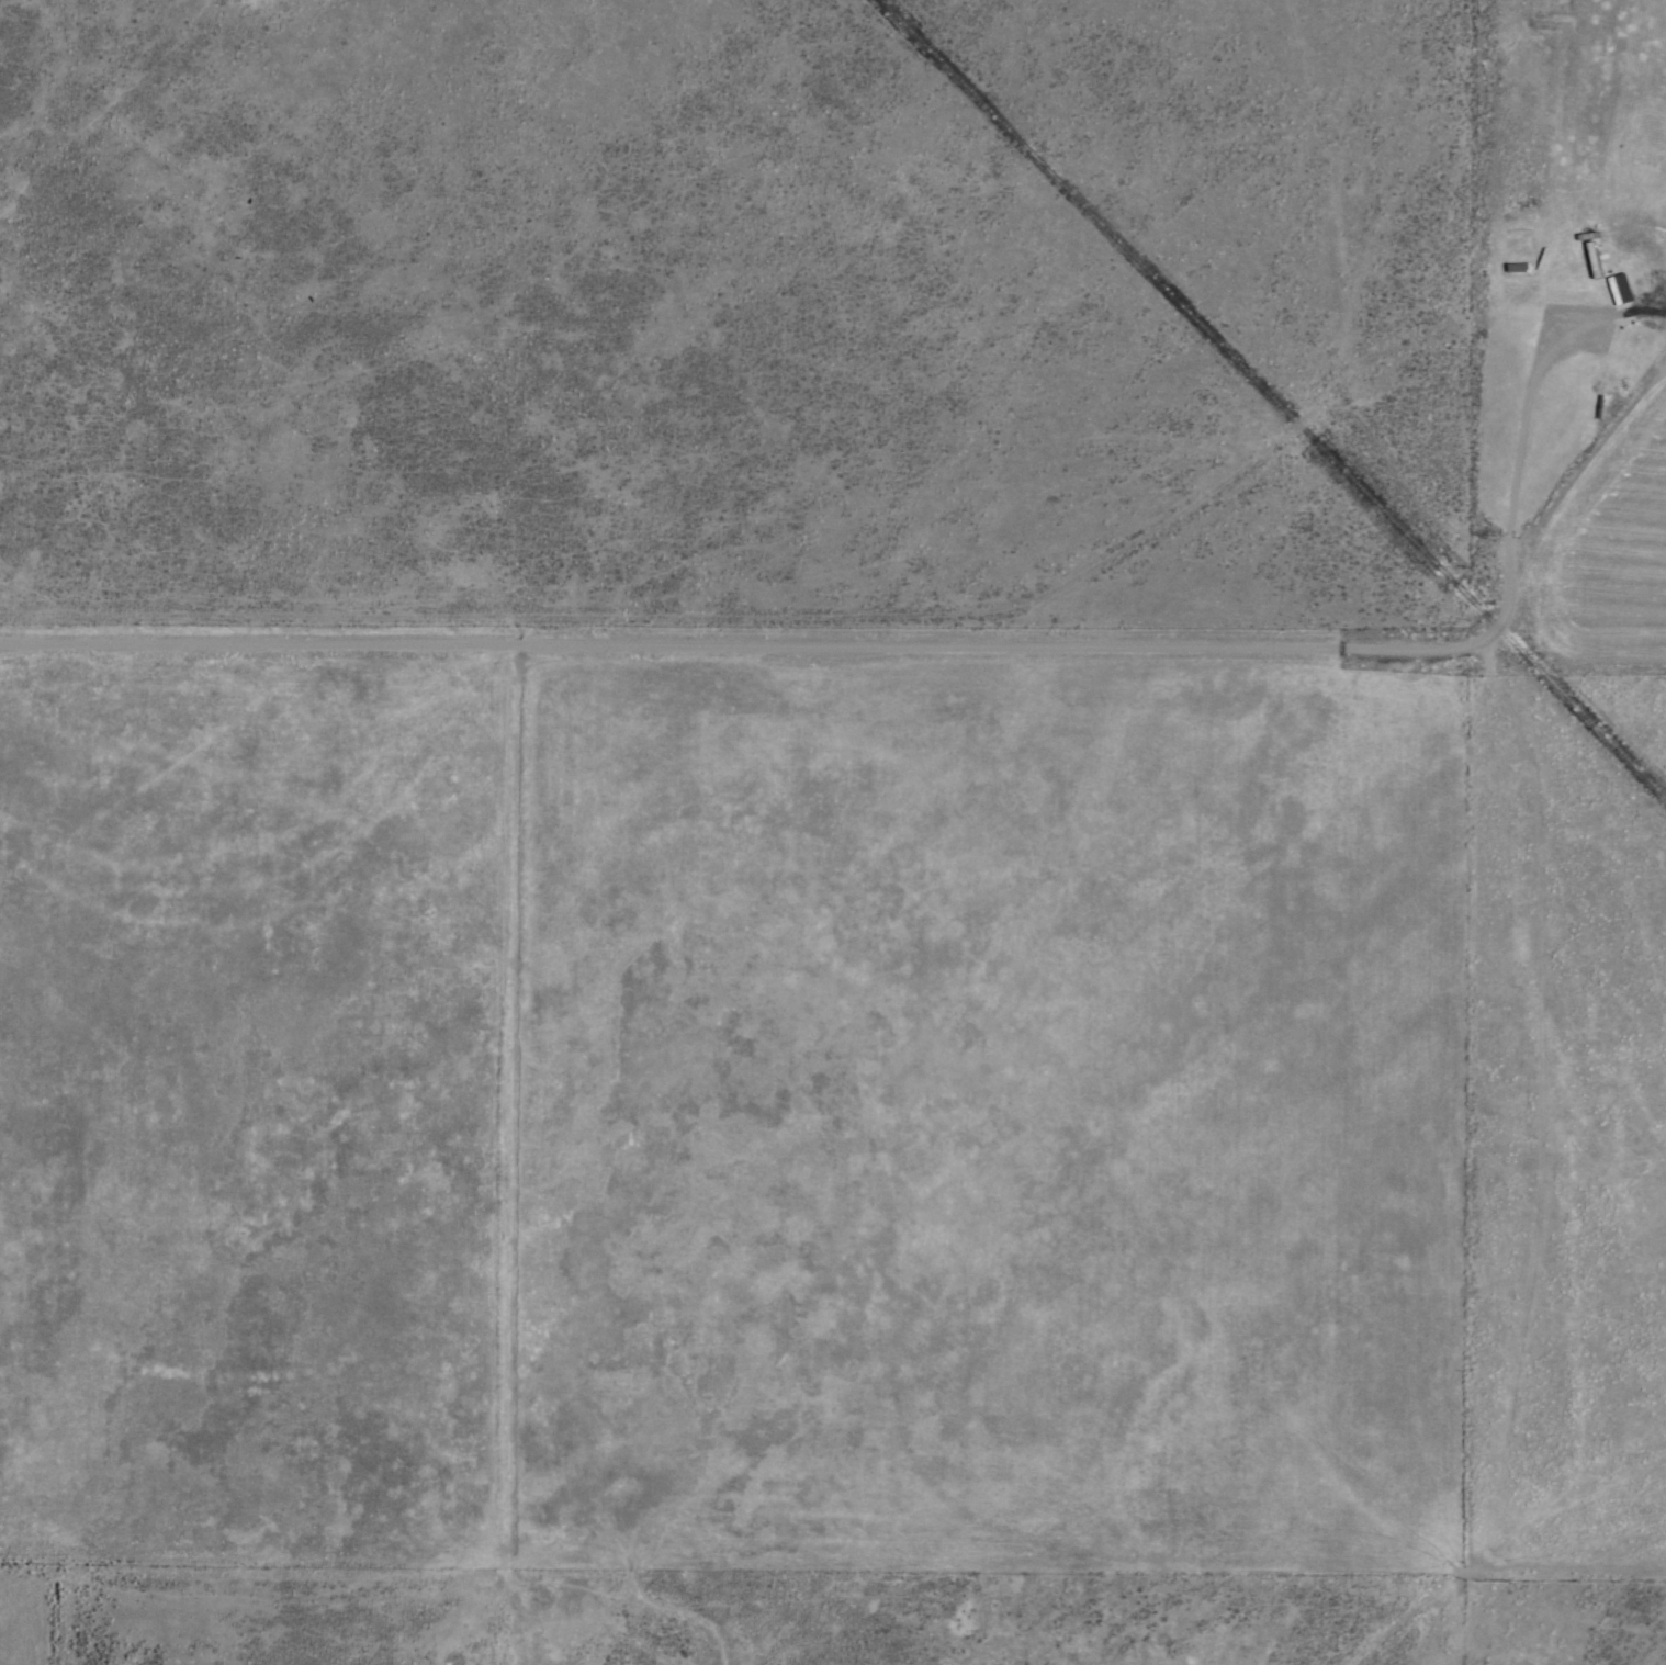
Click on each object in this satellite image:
road: (1395, 318)
railway: (1272, 400)
road: (746, 584)
road: (920, 649)
crop: (833, 832)
road: (1552, 1158)

